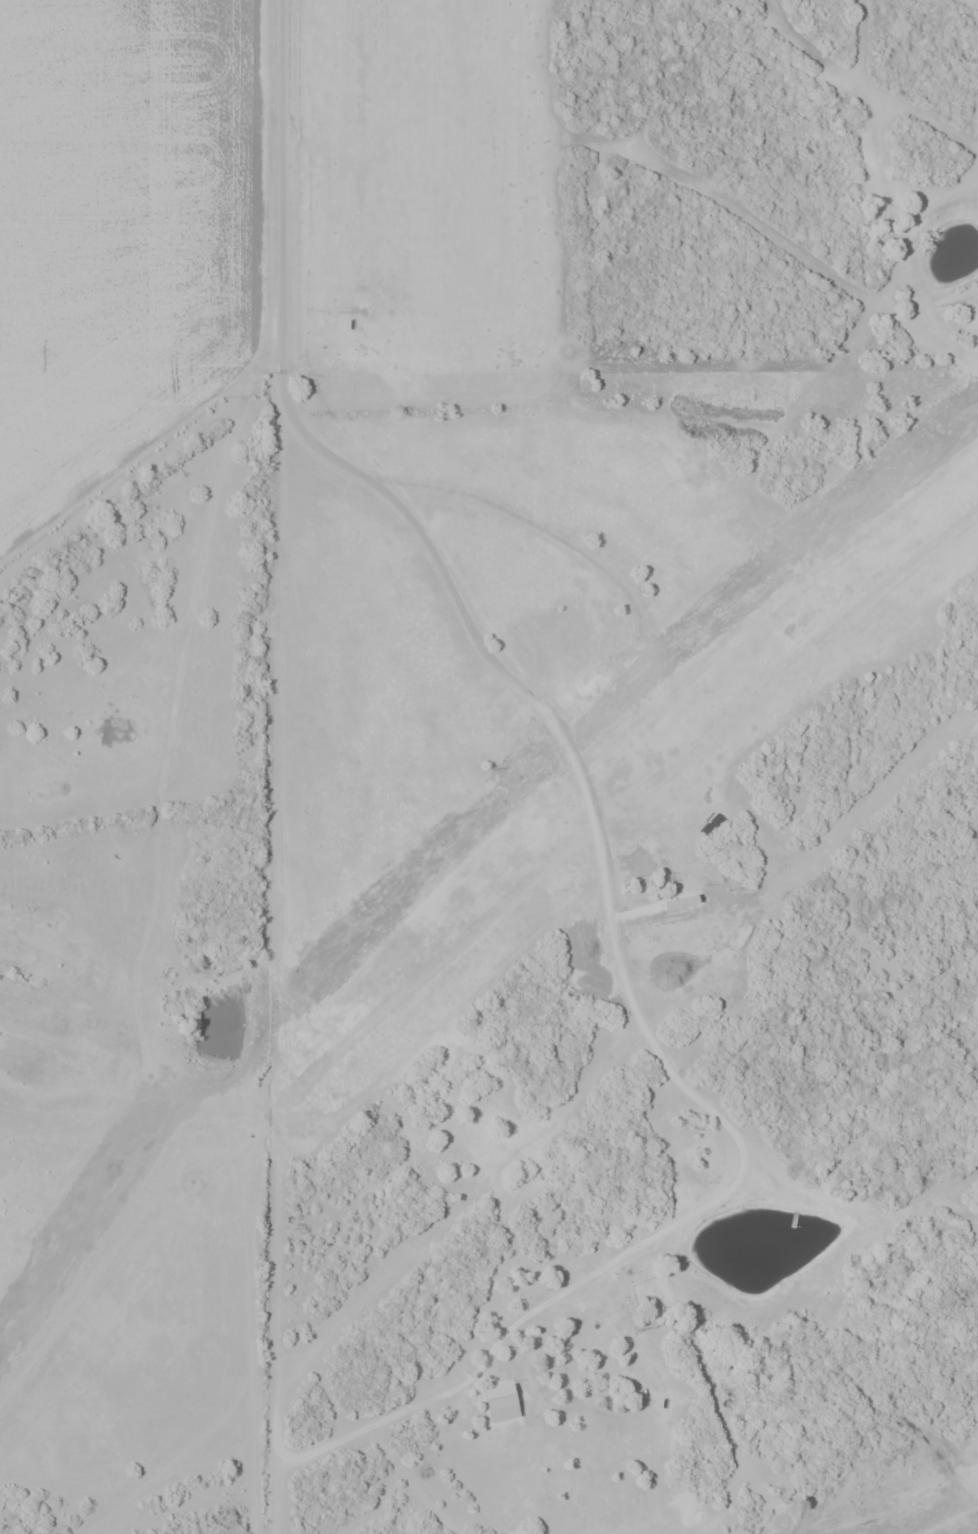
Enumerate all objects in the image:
road: (453, 586)
road: (861, 1208)
road: (413, 1412)

